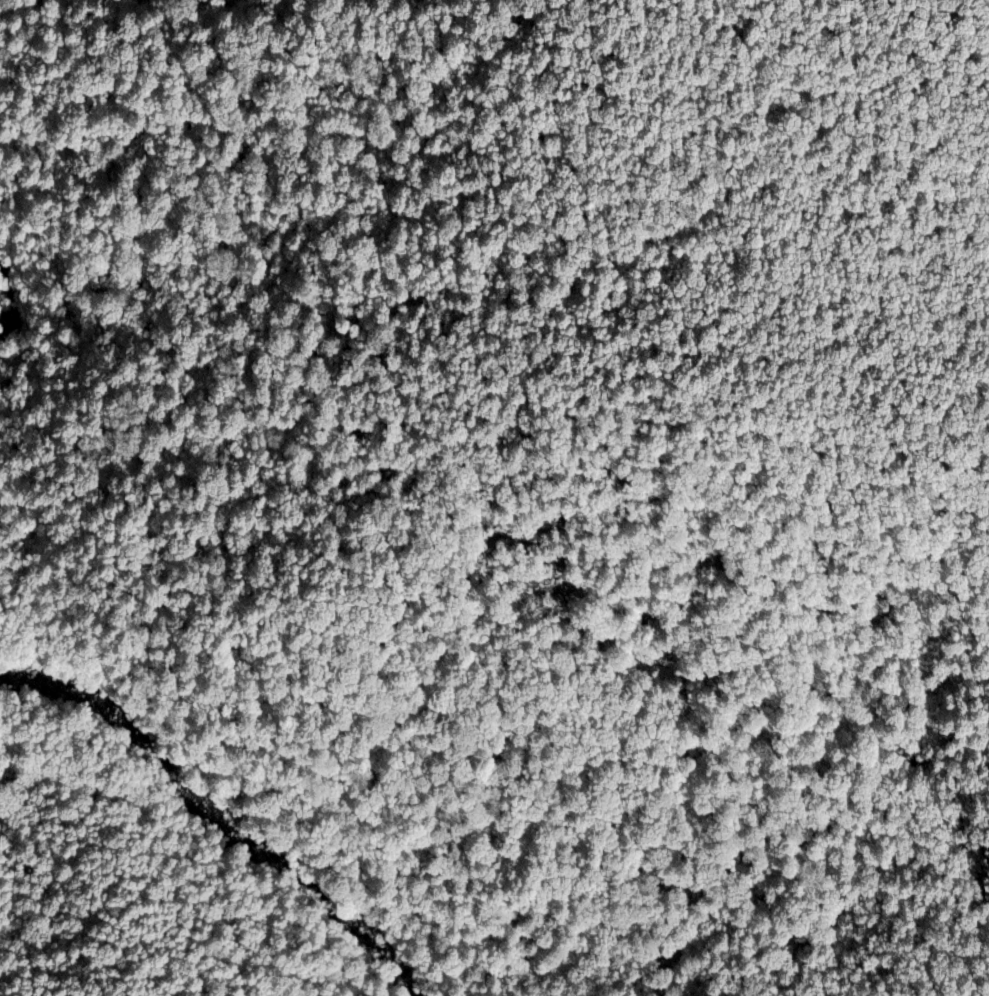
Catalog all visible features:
river: (7, 292)
road: (105, 675)
river: (234, 806)

